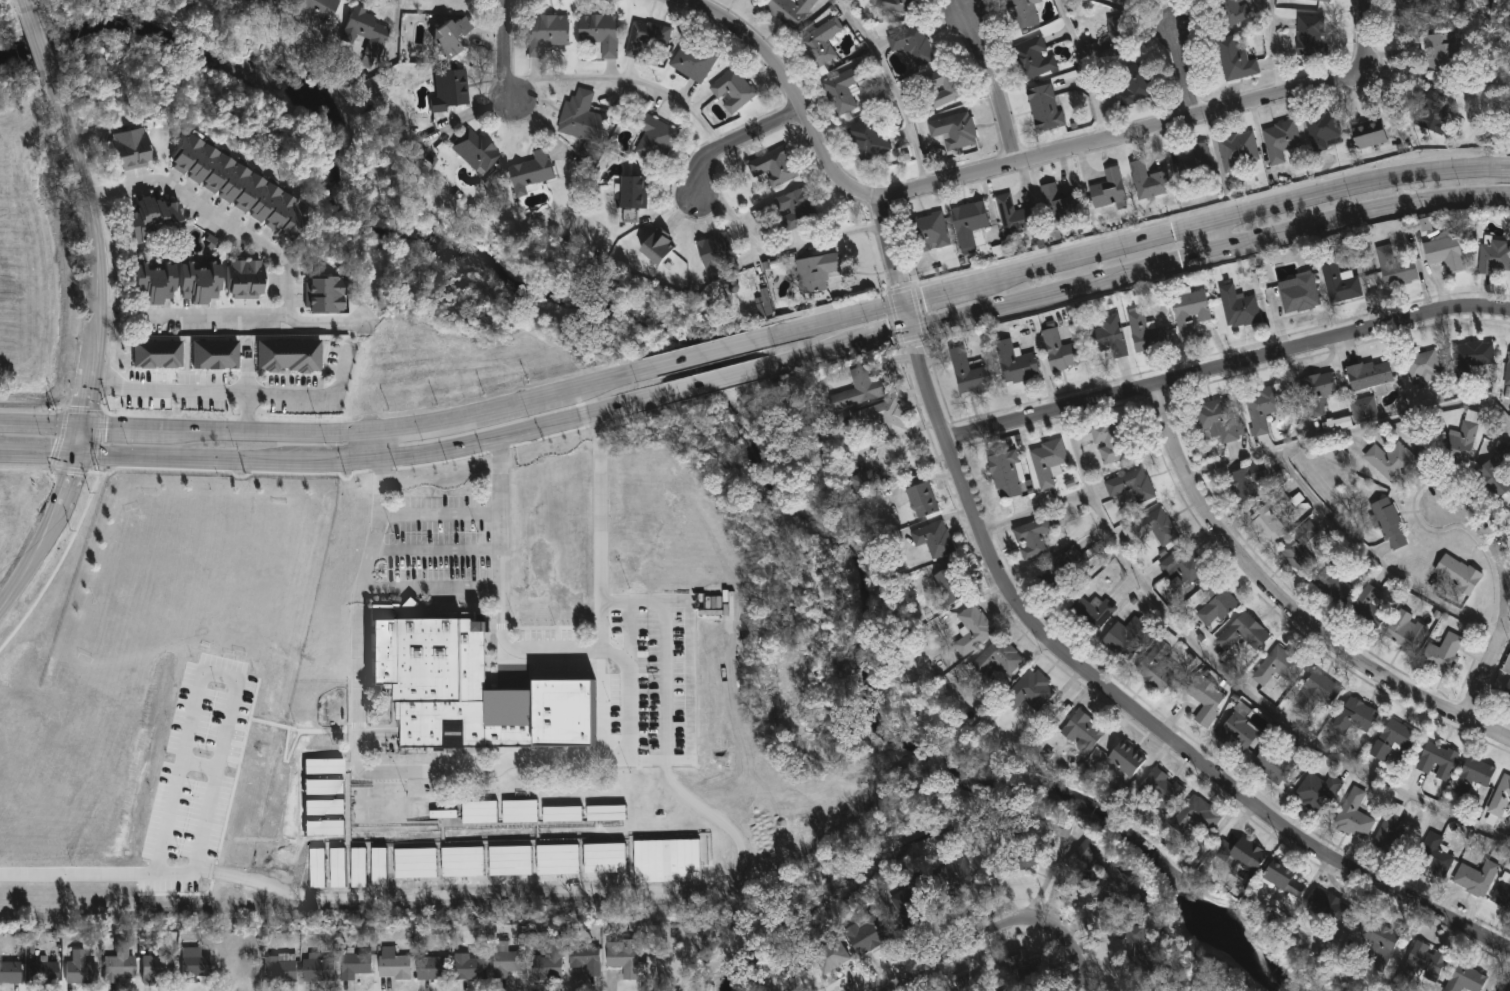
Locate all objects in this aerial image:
road: (22, 1)
building: (1318, 1)
building: (1130, 3)
building: (897, 6)
building: (1413, 6)
building: (315, 8)
building: (246, 11)
building: (790, 11)
building: (1233, 12)
building: (1023, 14)
road: (1363, 20)
building: (366, 32)
building: (546, 35)
building: (600, 35)
building: (450, 36)
building: (1311, 37)
building: (1115, 39)
building: (648, 44)
building: (820, 44)
building: (912, 47)
road: (1273, 49)
road: (506, 53)
building: (1442, 53)
road: (42, 55)
building: (1033, 59)
building: (695, 60)
building: (1235, 61)
road: (1084, 71)
road: (1182, 77)
road: (629, 82)
building: (1134, 86)
building: (451, 89)
building: (842, 90)
road: (896, 90)
road: (991, 90)
building: (939, 91)
building: (731, 92)
building: (1044, 108)
building: (1433, 113)
building: (581, 119)
building: (953, 131)
building: (1323, 131)
building: (1368, 136)
building: (654, 139)
building: (867, 141)
building: (1280, 141)
road: (734, 147)
building: (128, 150)
building: (475, 152)
building: (1238, 152)
building: (1197, 166)
building: (773, 168)
building: (531, 173)
road: (989, 175)
road: (1359, 180)
building: (1149, 182)
building: (237, 188)
building: (1107, 190)
building: (631, 194)
building: (1059, 205)
building: (794, 210)
road: (1363, 210)
building: (1016, 216)
road: (216, 218)
building: (154, 220)
building: (969, 225)
road: (1191, 227)
building: (929, 233)
road: (1218, 239)
building: (656, 249)
road: (779, 249)
road: (891, 250)
building: (1444, 254)
road: (1065, 256)
building: (717, 257)
building: (1494, 258)
road: (1193, 259)
road: (100, 263)
building: (1394, 270)
building: (815, 274)
building: (243, 279)
building: (197, 283)
building: (152, 284)
building: (1341, 284)
road: (934, 290)
building: (1295, 295)
building: (323, 296)
road: (1038, 296)
building: (763, 304)
building: (1238, 309)
road: (909, 313)
building: (1189, 315)
road: (828, 319)
road: (234, 320)
road: (887, 335)
building: (1145, 335)
building: (1108, 338)
building: (157, 350)
building: (216, 350)
building: (289, 353)
building: (1061, 353)
road: (696, 354)
road: (816, 354)
building: (1471, 359)
building: (1015, 365)
building: (1423, 367)
road: (1228, 372)
building: (969, 375)
building: (1369, 376)
building: (1506, 376)
road: (721, 379)
road: (601, 381)
road: (189, 391)
building: (858, 391)
building: (1315, 394)
road: (316, 396)
building: (1261, 409)
building: (1364, 411)
road: (470, 415)
building: (879, 419)
road: (43, 421)
building: (1218, 421)
traffic signals: (86, 422)
road: (122, 423)
building: (1335, 425)
road: (492, 426)
road: (1353, 429)
road: (269, 430)
road: (526, 431)
road: (81, 437)
road: (379, 441)
building: (1458, 441)
building: (1111, 444)
road: (38, 451)
traffic signals: (77, 452)
road: (185, 456)
road: (337, 457)
building: (899, 458)
building: (1391, 462)
building: (1047, 463)
building: (1495, 471)
building: (1005, 476)
building: (864, 481)
building: (1246, 483)
building: (1130, 487)
building: (922, 500)
building: (1509, 508)
road: (437, 513)
building: (1271, 518)
building: (1389, 524)
building: (1154, 530)
road: (47, 537)
building: (933, 538)
road: (500, 539)
building: (1032, 540)
building: (1299, 546)
road: (434, 550)
road: (1375, 557)
building: (1177, 570)
building: (1457, 575)
building: (1058, 576)
building: (950, 585)
road: (431, 586)
building: (1333, 587)
building: (1216, 605)
road: (1507, 607)
building: (1367, 608)
road: (1286, 612)
building: (1094, 613)
building: (973, 632)
building: (1405, 632)
road: (603, 633)
building: (1242, 635)
building: (1125, 639)
road: (612, 652)
building: (1441, 654)
building: (996, 660)
building: (1507, 666)
building: (1155, 668)
building: (1277, 669)
building: (429, 674)
road: (236, 679)
road: (356, 683)
road: (665, 683)
road: (1233, 683)
building: (1033, 691)
building: (1317, 693)
building: (1507, 693)
building: (1205, 700)
road: (1130, 713)
building: (1355, 717)
building: (1082, 733)
building: (1237, 735)
building: (1392, 740)
building: (1124, 760)
building: (1276, 760)
building: (1436, 762)
building: (324, 766)
road: (202, 768)
building: (1471, 777)
building: (324, 787)
building: (1159, 791)
building: (1317, 793)
building: (1500, 798)
building: (325, 807)
building: (520, 811)
building: (479, 812)
building: (607, 813)
building: (562, 814)
building: (1353, 817)
building: (1195, 818)
building: (325, 828)
building: (1393, 839)
building: (1246, 854)
building: (1081, 856)
building: (605, 858)
building: (1433, 858)
building: (558, 860)
building: (1018, 860)
building: (511, 861)
building: (668, 861)
building: (463, 862)
building: (416, 863)
building: (379, 867)
building: (318, 868)
building: (338, 868)
building: (359, 868)
road: (79, 876)
building: (953, 878)
building: (1283, 879)
building: (1474, 879)
building: (1109, 883)
building: (1503, 892)
road: (543, 898)
building: (1328, 908)
building: (908, 911)
building: (693, 926)
building: (868, 934)
road: (957, 942)
building: (1378, 945)
road: (1080, 946)
building: (1136, 948)
building: (621, 955)
building: (830, 957)
building: (507, 961)
building: (548, 962)
building: (584, 962)
building: (1425, 962)
building: (194, 965)
building: (393, 965)
building: (1024, 967)
building: (79, 968)
building: (119, 968)
building: (356, 968)
building: (470, 968)
building: (156, 969)
building: (433, 969)
building: (280, 970)
building: (318, 971)
building: (43, 972)
building: (10, 973)
building: (1465, 979)
building: (975, 984)
building: (1507, 987)

